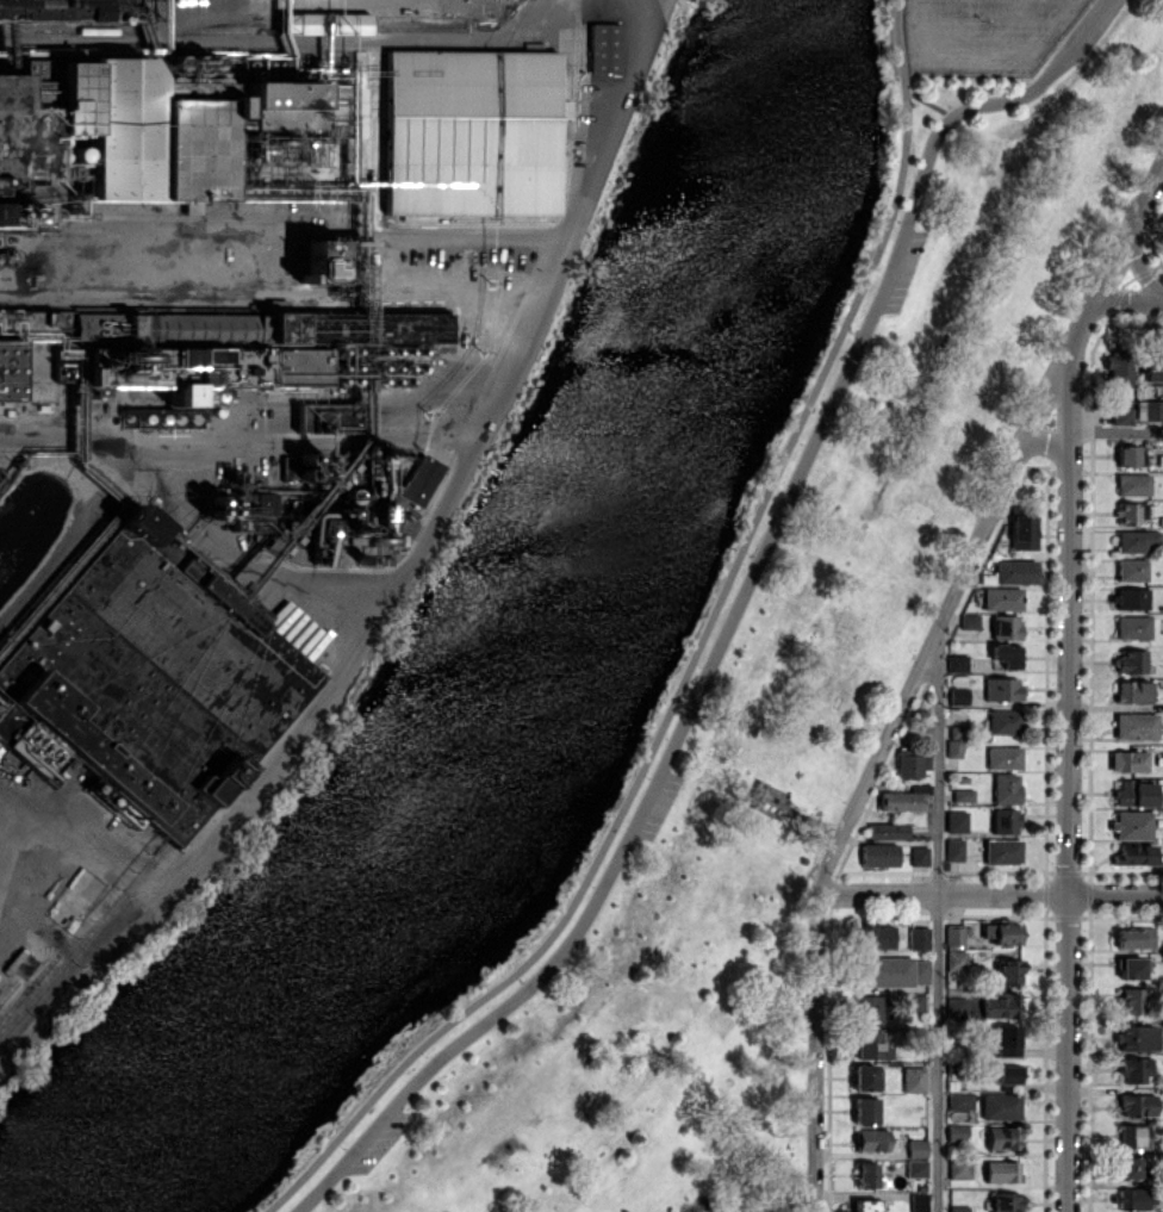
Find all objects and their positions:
building: (50, 10)
building: (297, 20)
railway: (230, 21)
building: (349, 23)
road: (902, 32)
road: (896, 35)
parking lot: (976, 36)
building: (603, 48)
road: (1007, 66)
road: (904, 68)
building: (276, 94)
building: (116, 132)
building: (471, 132)
building: (0, 217)
road: (1131, 235)
silo: (225, 247)
silo: (157, 248)
silo: (180, 248)
silo: (203, 248)
silo: (111, 249)
silo: (135, 249)
silo: (86, 250)
building: (318, 260)
silo: (86, 274)
silo: (112, 274)
silo: (136, 274)
silo: (160, 274)
silo: (181, 274)
silo: (203, 274)
silo: (226, 274)
road: (1131, 303)
building: (192, 355)
building: (1119, 365)
building: (294, 367)
building: (1152, 368)
building: (7, 371)
building: (1150, 410)
building: (1122, 415)
building: (319, 417)
road: (1117, 433)
road: (1051, 437)
building: (1130, 454)
building: (288, 466)
building: (421, 479)
building: (1133, 484)
building: (247, 506)
building: (1131, 511)
building: (1024, 529)
building: (1136, 540)
building: (1131, 568)
building: (1016, 571)
building: (1130, 597)
building: (1002, 598)
road: (733, 616)
building: (1006, 626)
building: (1132, 627)
building: (1006, 654)
building: (1132, 659)
building: (957, 663)
park: (782, 667)
building: (162, 670)
building: (1001, 688)
building: (1132, 691)
road: (673, 694)
building: (958, 695)
building: (1003, 721)
building: (6, 725)
building: (1136, 725)
road: (887, 740)
building: (74, 744)
building: (953, 747)
building: (35, 754)
building: (1003, 757)
building: (1128, 760)
building: (912, 763)
building: (218, 784)
building: (1006, 787)
road: (1069, 788)
building: (1134, 793)
building: (963, 795)
building: (903, 798)
building: (770, 803)
building: (1005, 820)
building: (957, 821)
building: (1132, 825)
building: (888, 831)
building: (954, 849)
building: (1002, 851)
building: (879, 853)
building: (919, 854)
building: (1134, 854)
road: (990, 895)
road: (938, 924)
building: (1002, 932)
building: (875, 936)
building: (956, 937)
building: (1134, 937)
building: (919, 938)
railway: (82, 946)
building: (956, 959)
building: (1131, 968)
building: (894, 970)
building: (1008, 971)
building: (1131, 1000)
building: (915, 1001)
building: (1002, 1005)
building: (957, 1007)
building: (869, 1009)
building: (1136, 1037)
building: (1005, 1039)
building: (872, 1045)
building: (1134, 1069)
building: (1007, 1074)
building: (864, 1076)
building: (914, 1079)
building: (960, 1100)
building: (1137, 1104)
building: (1001, 1106)
building: (865, 1110)
building: (957, 1132)
building: (1133, 1135)
building: (1002, 1137)
building: (871, 1139)
building: (918, 1148)
building: (916, 1167)
building: (1128, 1167)
building: (959, 1169)
building: (1002, 1170)
building: (866, 1174)
building: (1130, 1198)
building: (919, 1201)
building: (1006, 1201)
building: (867, 1205)

